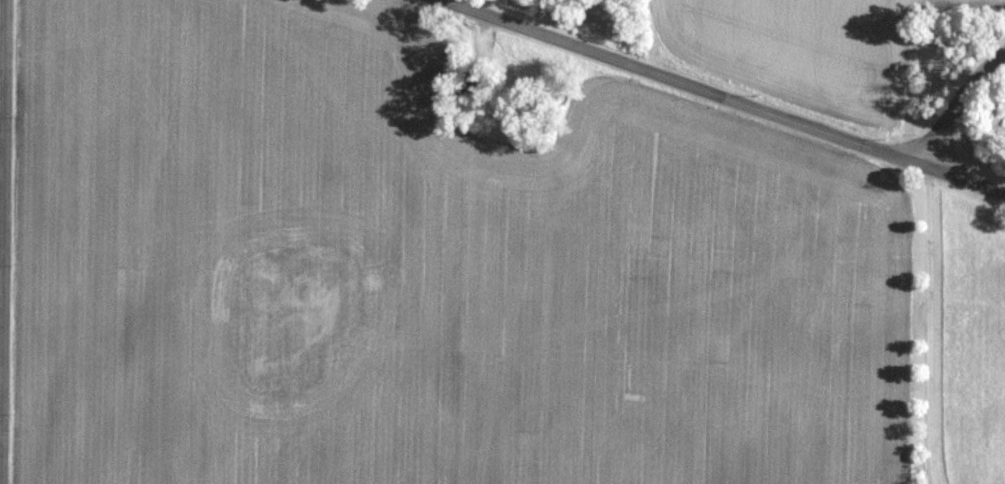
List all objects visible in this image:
road: (726, 96)
road: (959, 106)
road: (927, 323)

